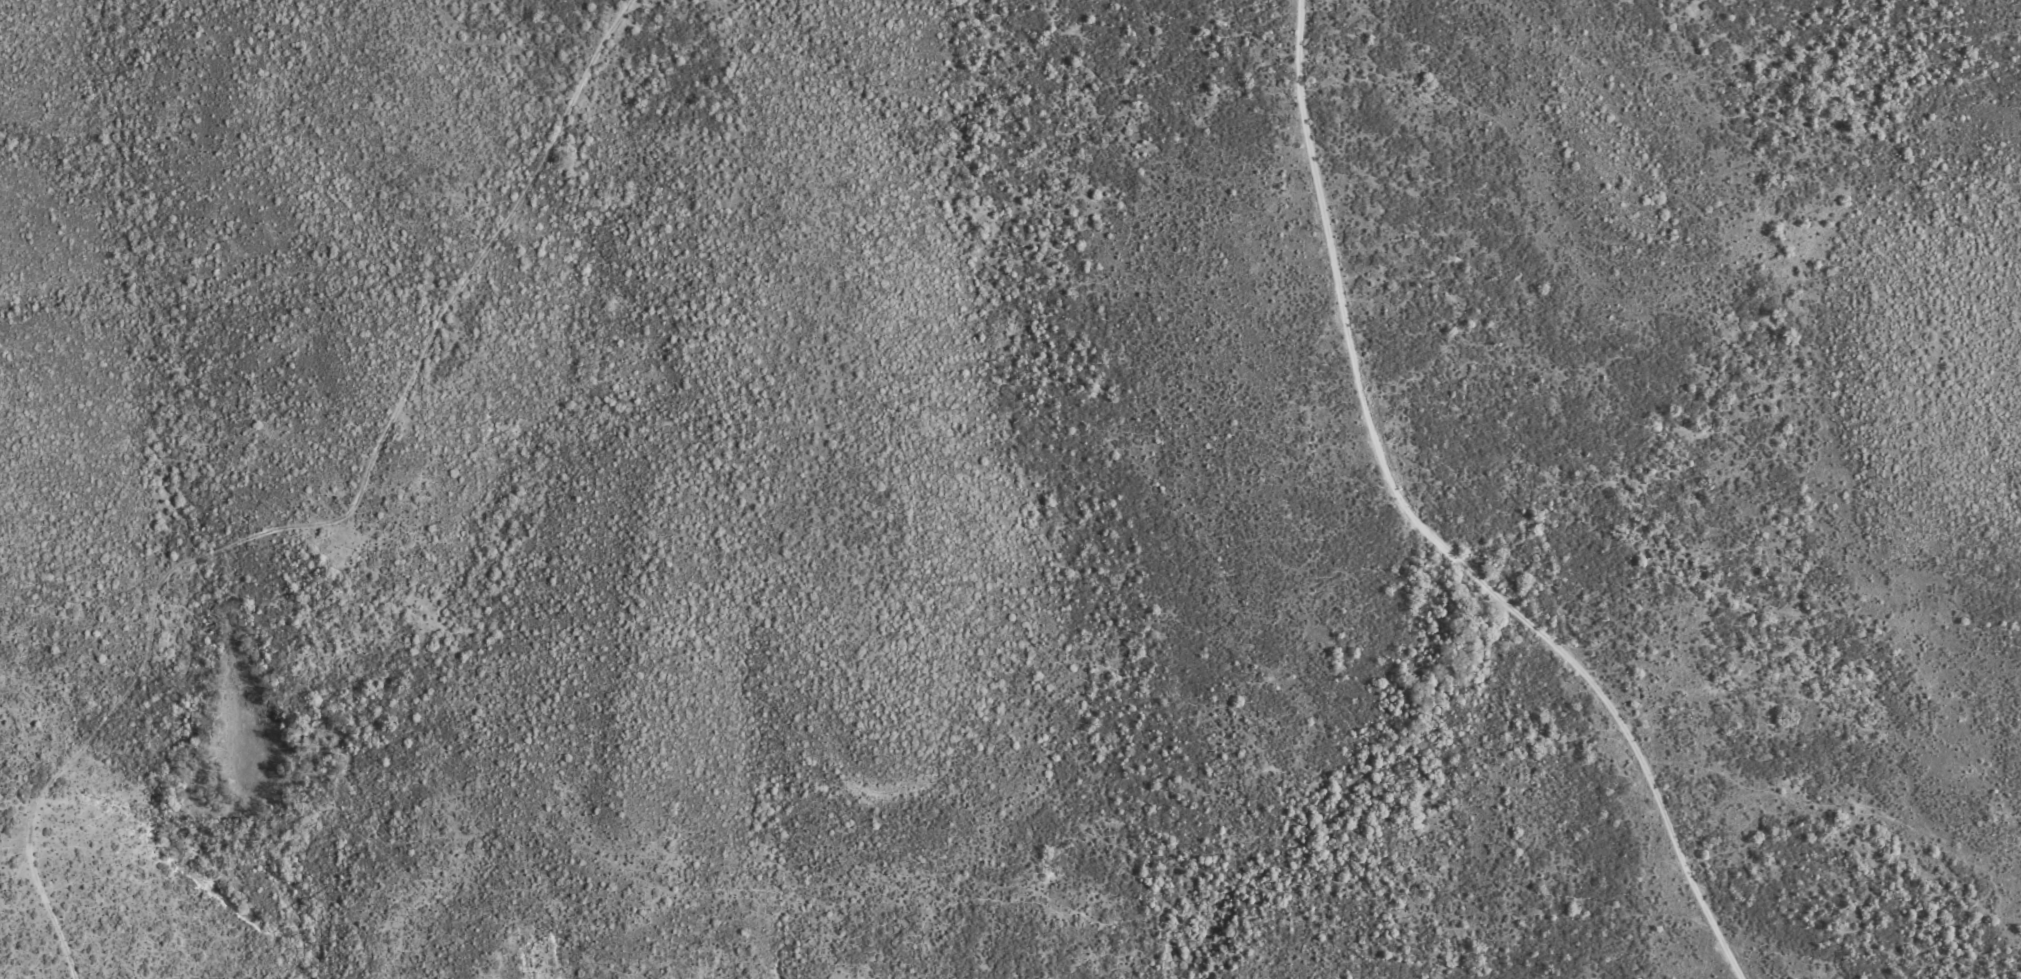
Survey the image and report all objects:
road: (467, 288)
road: (1437, 530)

